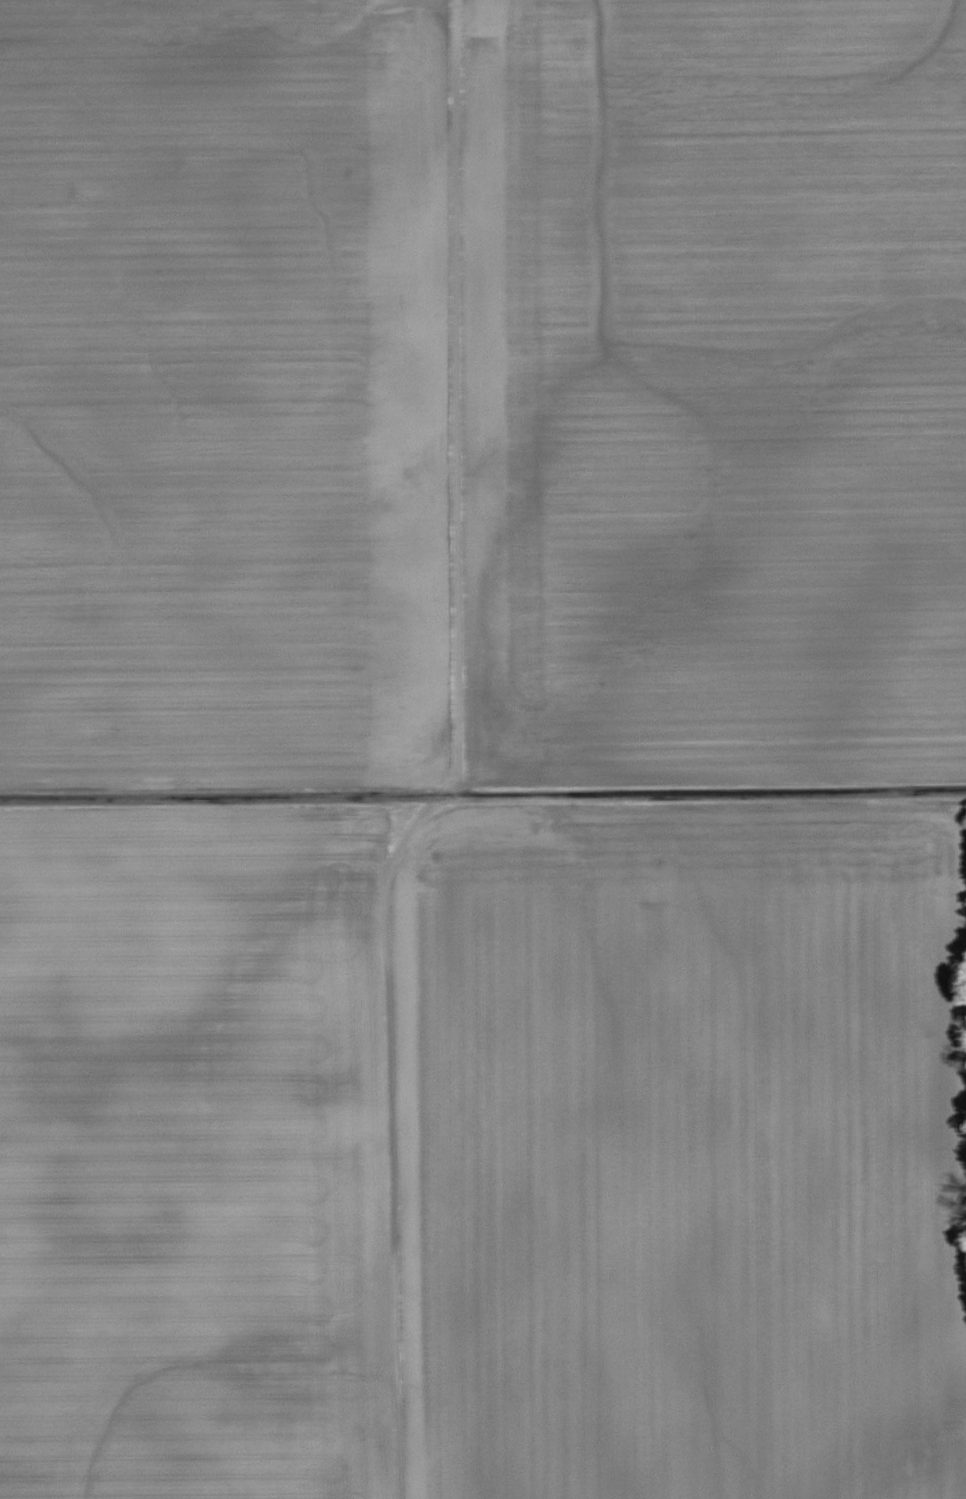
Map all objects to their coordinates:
road: (444, 400)
road: (483, 793)
road: (385, 1138)

